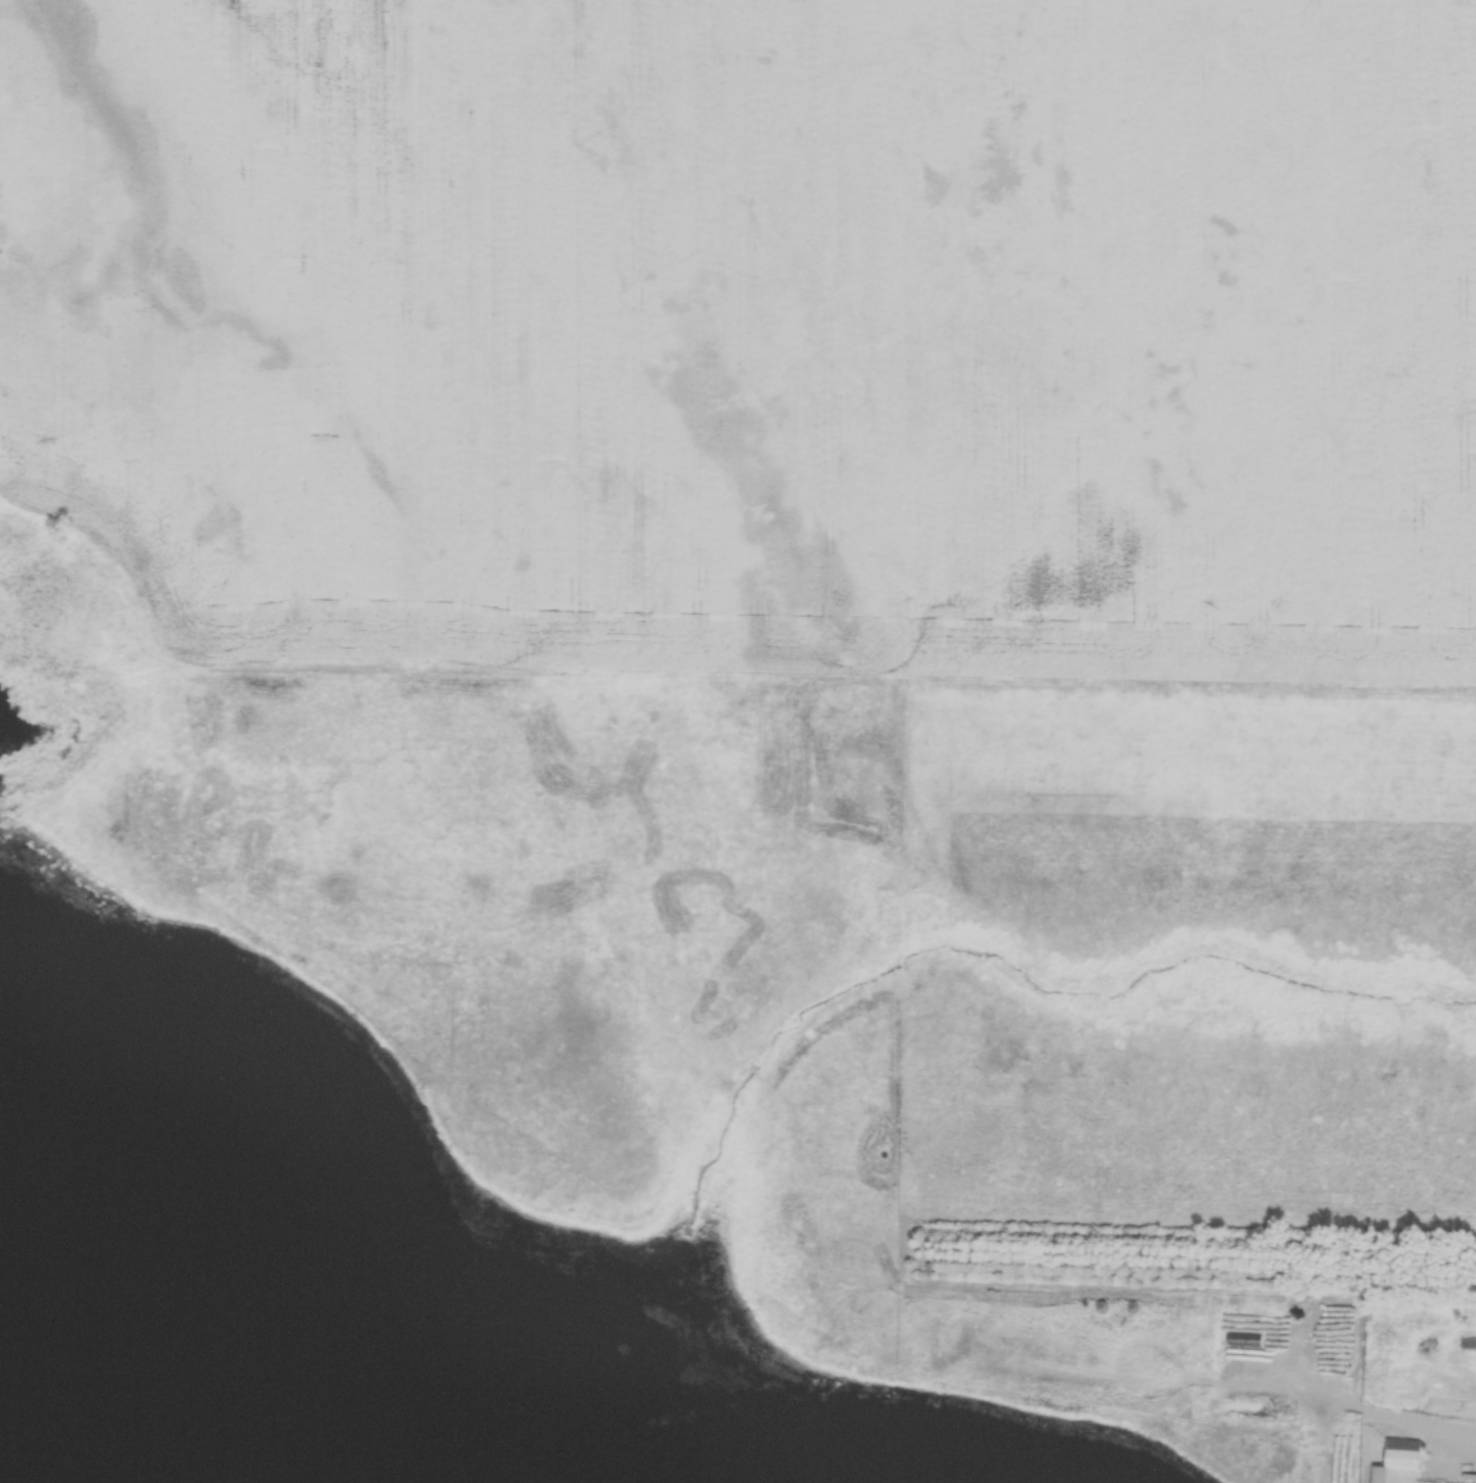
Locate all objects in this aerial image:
building: (1403, 1455)

